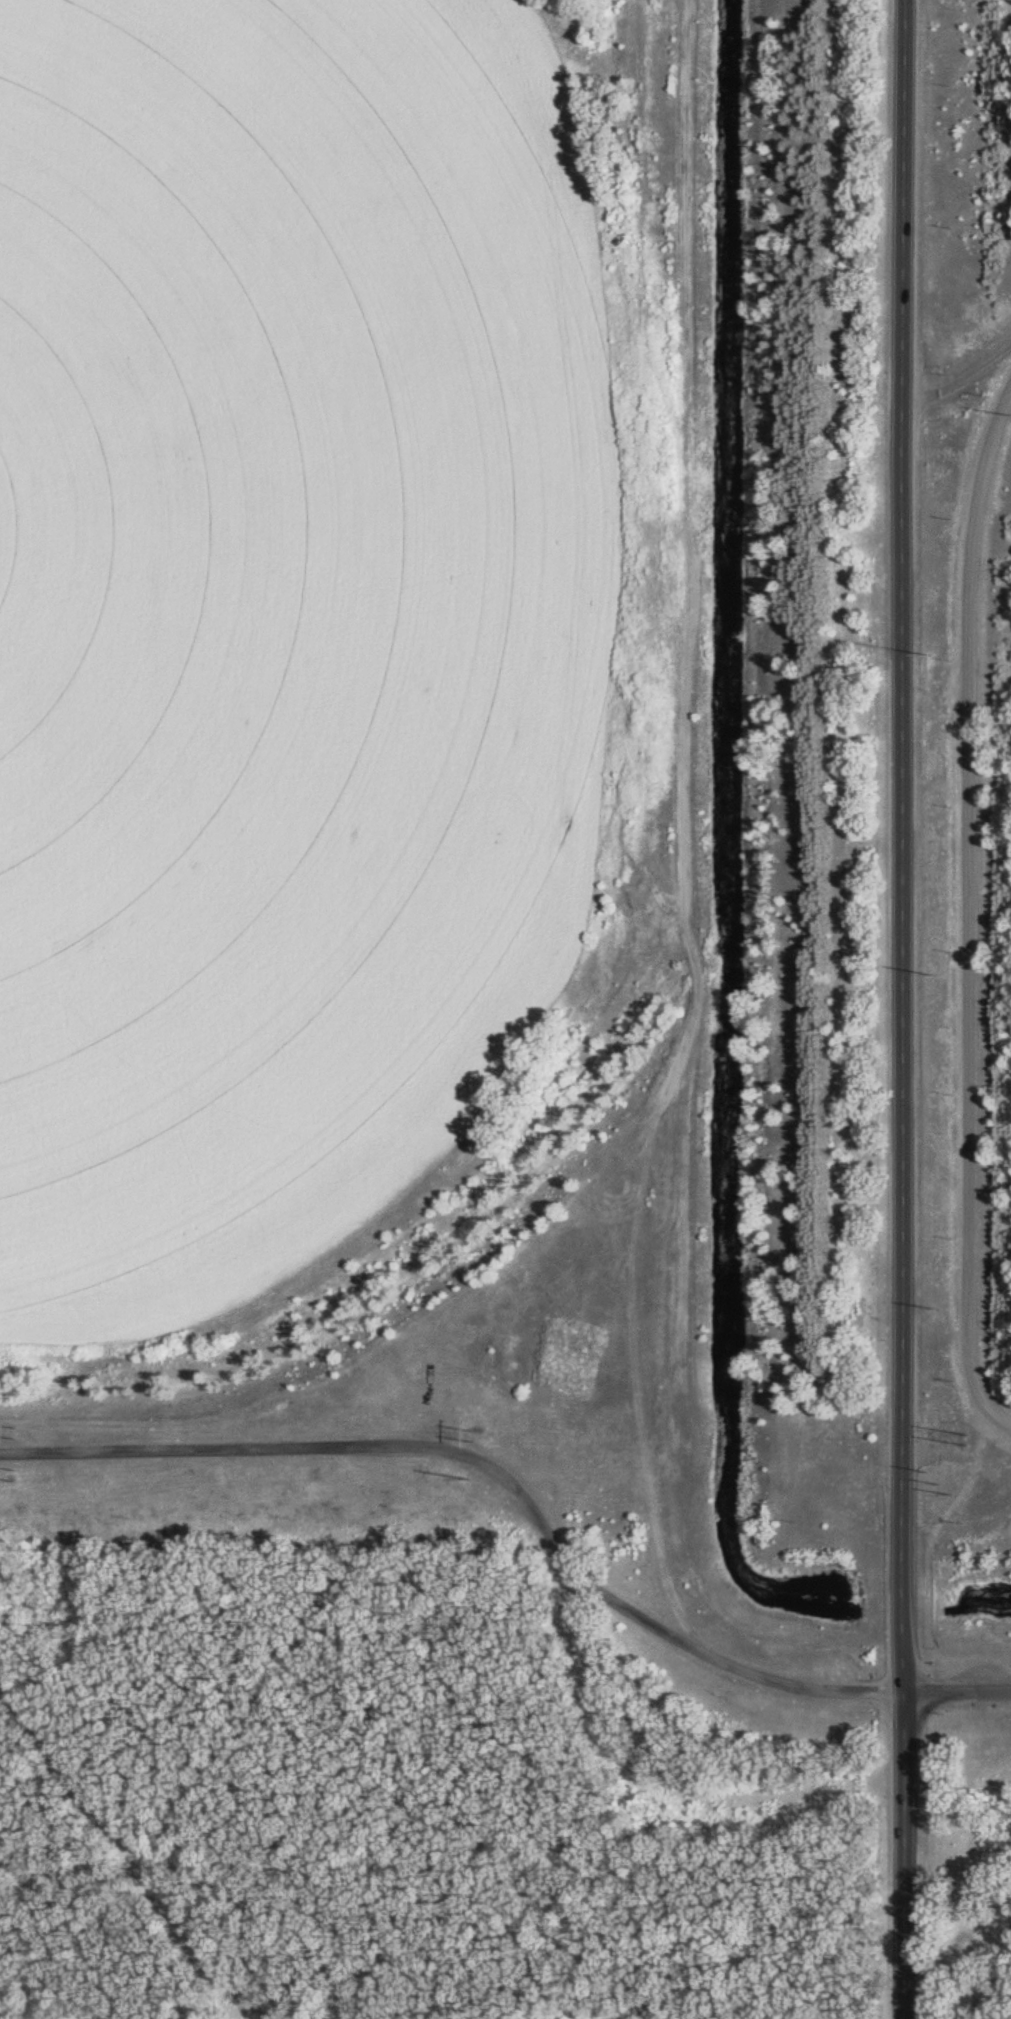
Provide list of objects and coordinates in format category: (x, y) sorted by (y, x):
road: (957, 383)
wastewater plant: (980, 868)
road: (971, 912)
road: (904, 1009)
power tower: (17, 1430)
power tower: (476, 1431)
power tower: (965, 1436)
road: (958, 1451)
power tower: (17, 1473)
power tower: (476, 1476)
power tower: (940, 1480)
road: (958, 1687)

